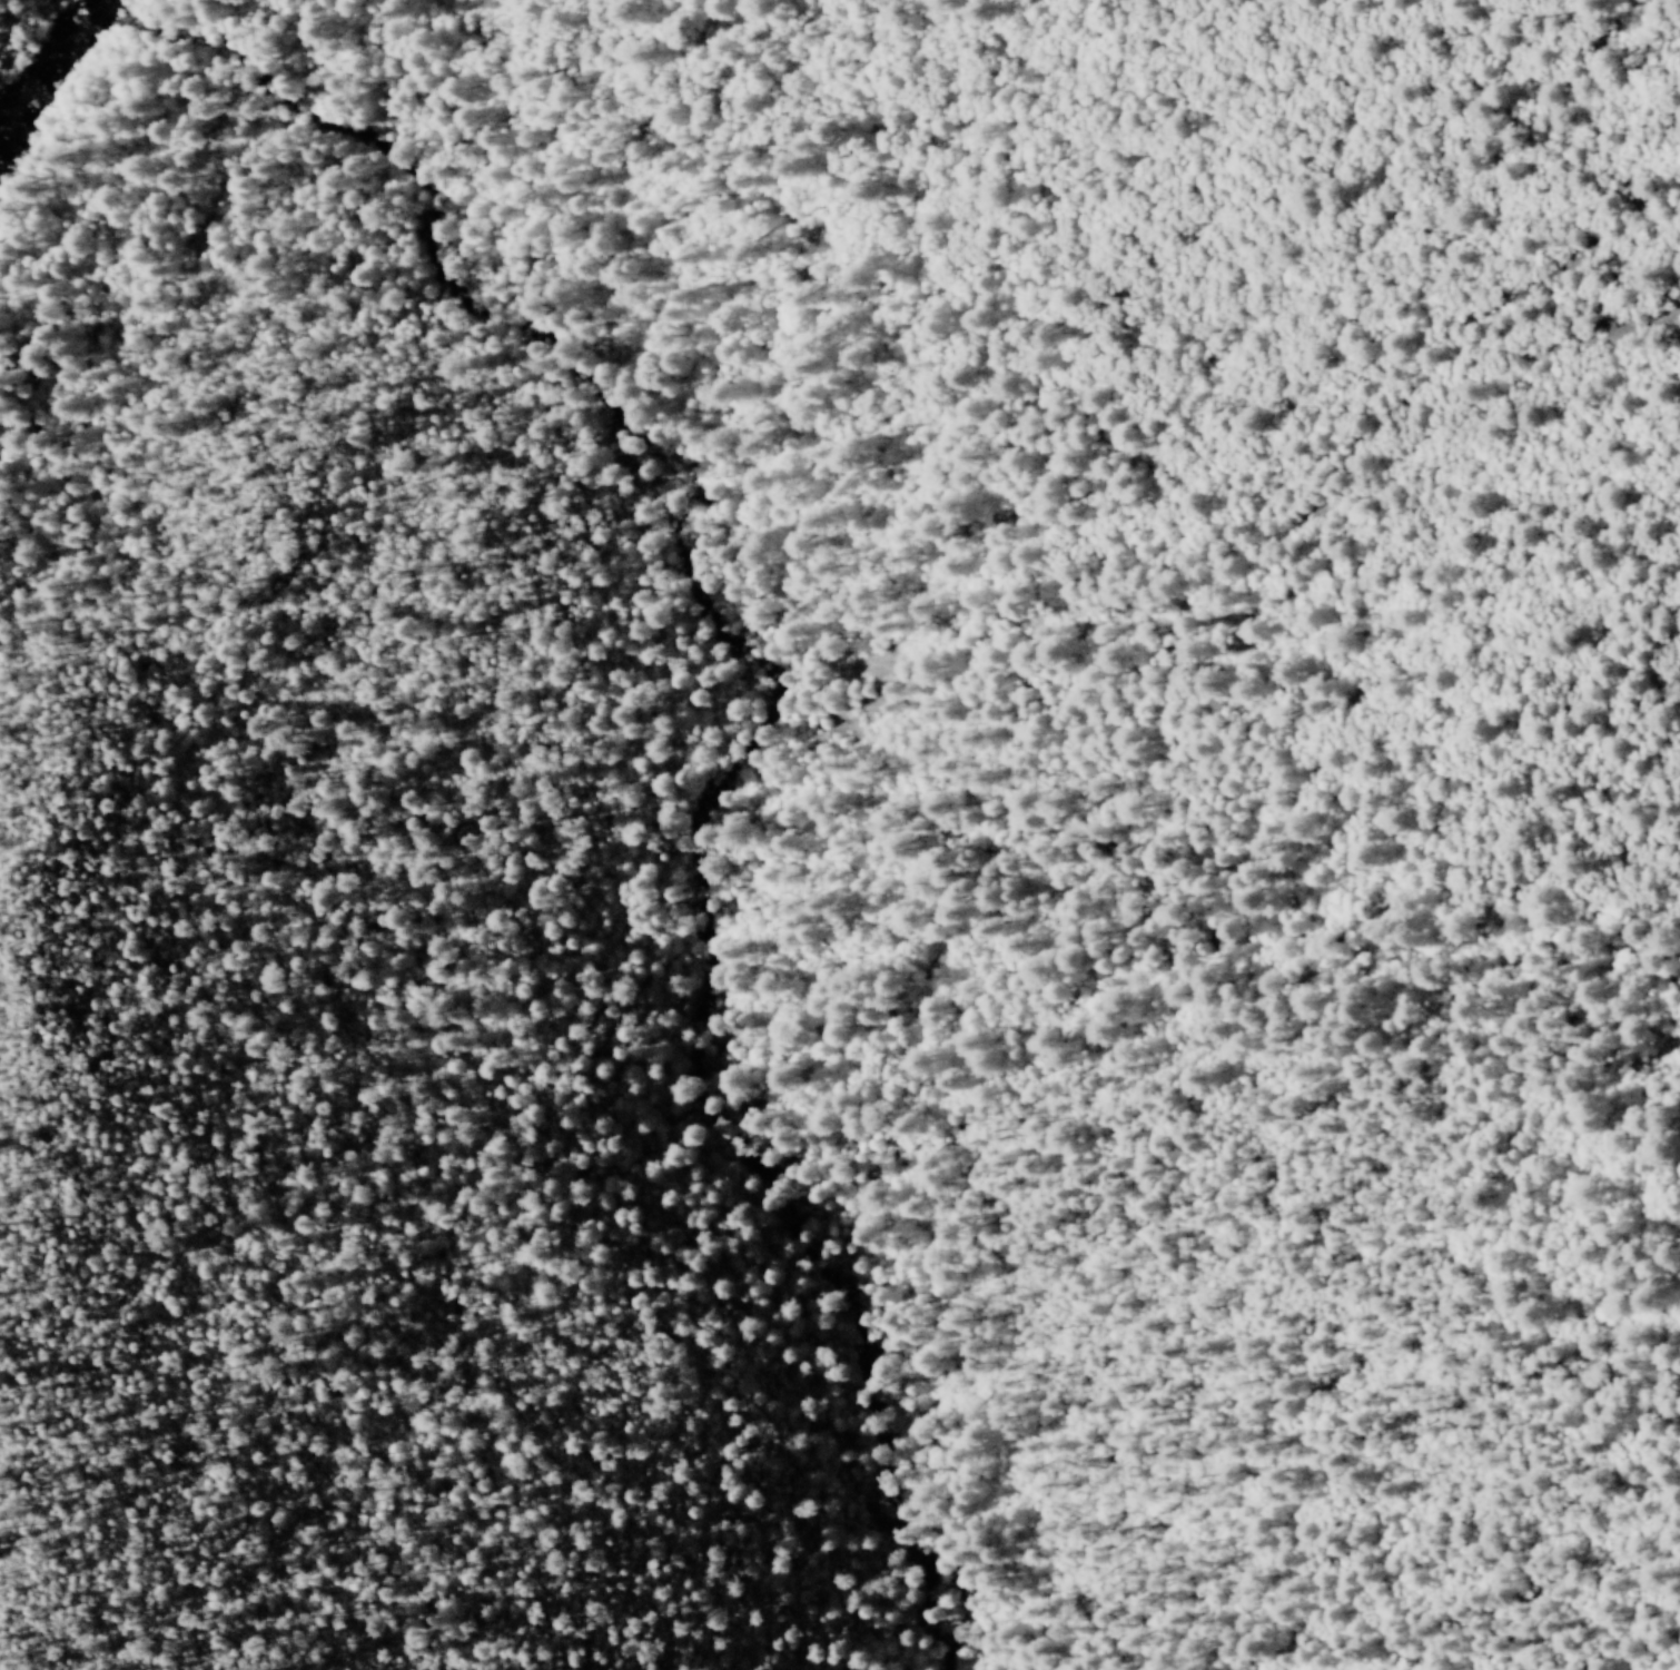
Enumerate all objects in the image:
river: (105, 14)
river: (45, 53)

